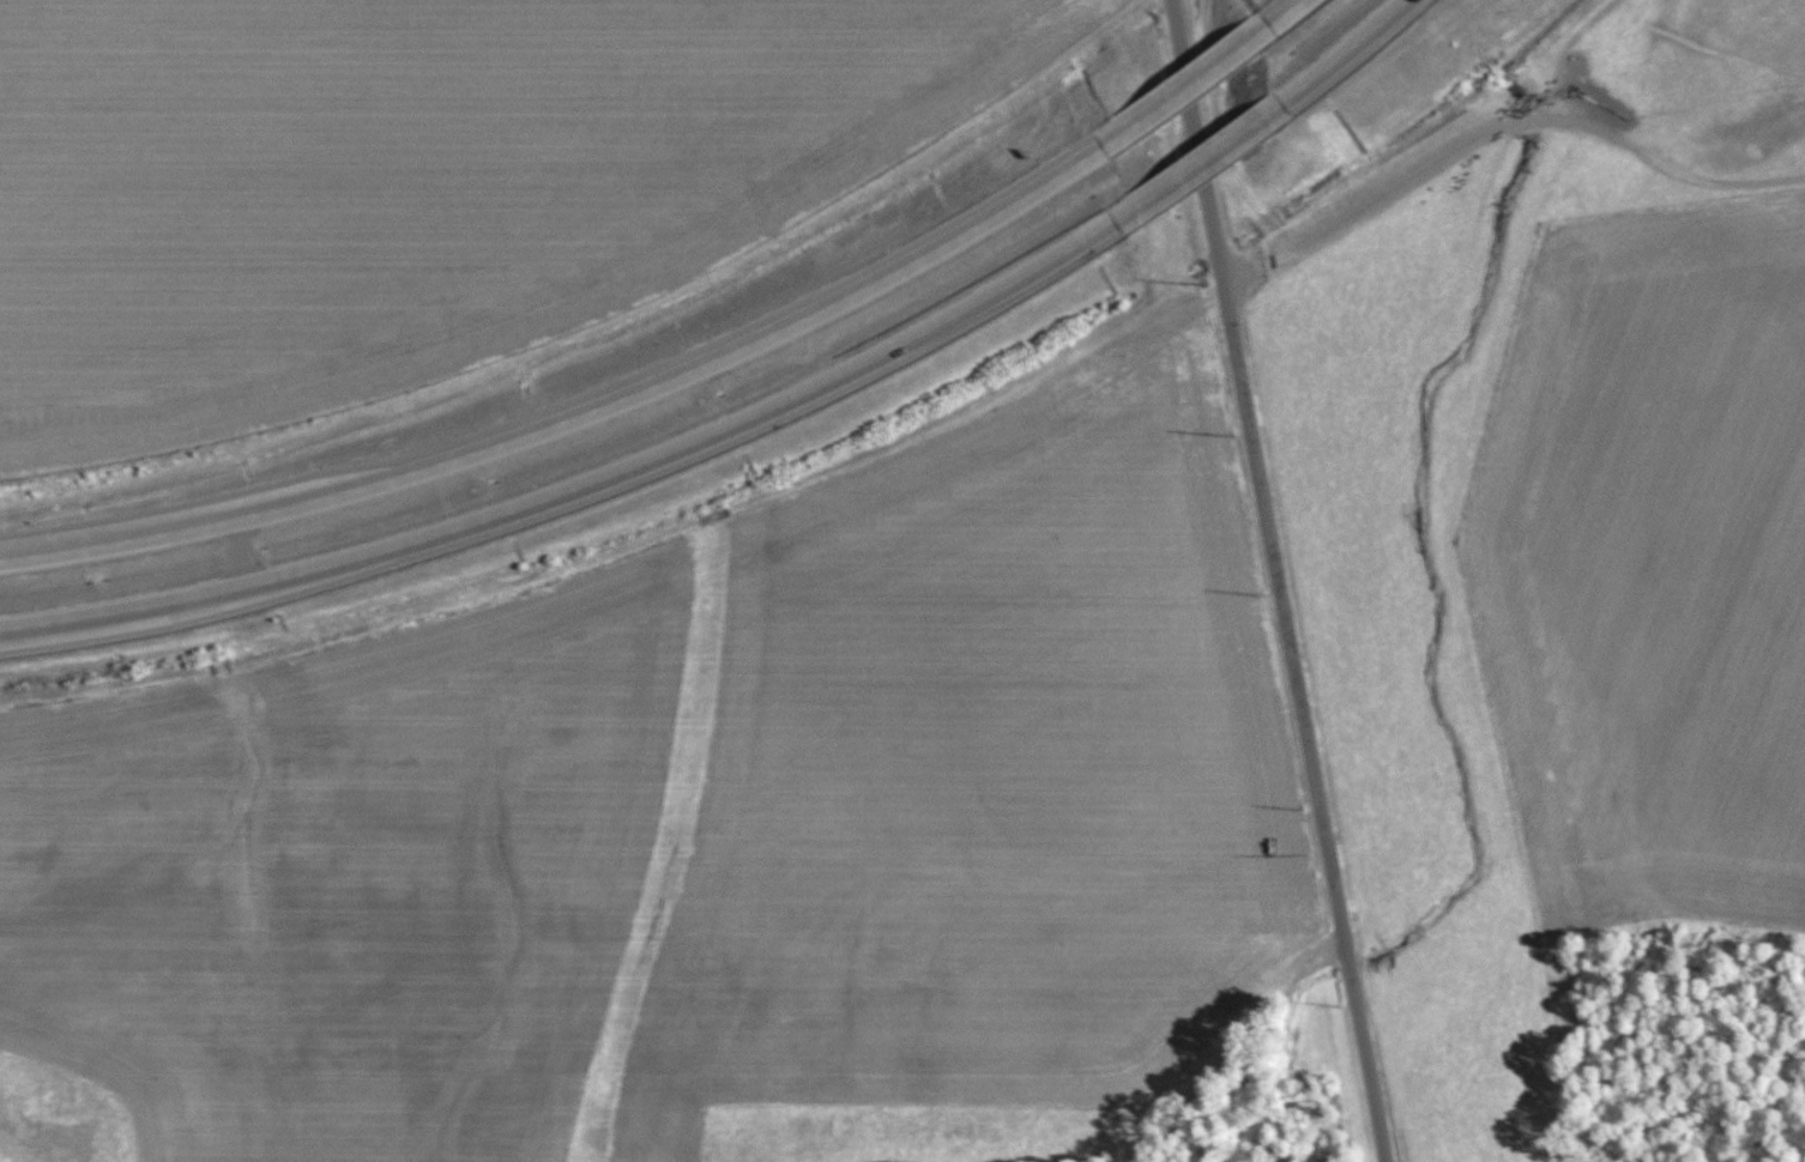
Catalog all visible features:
road: (1305, 13)
road: (1374, 54)
road: (1205, 89)
road: (1221, 168)
road: (585, 423)
road: (590, 495)
road: (255, 555)
road: (1274, 581)

